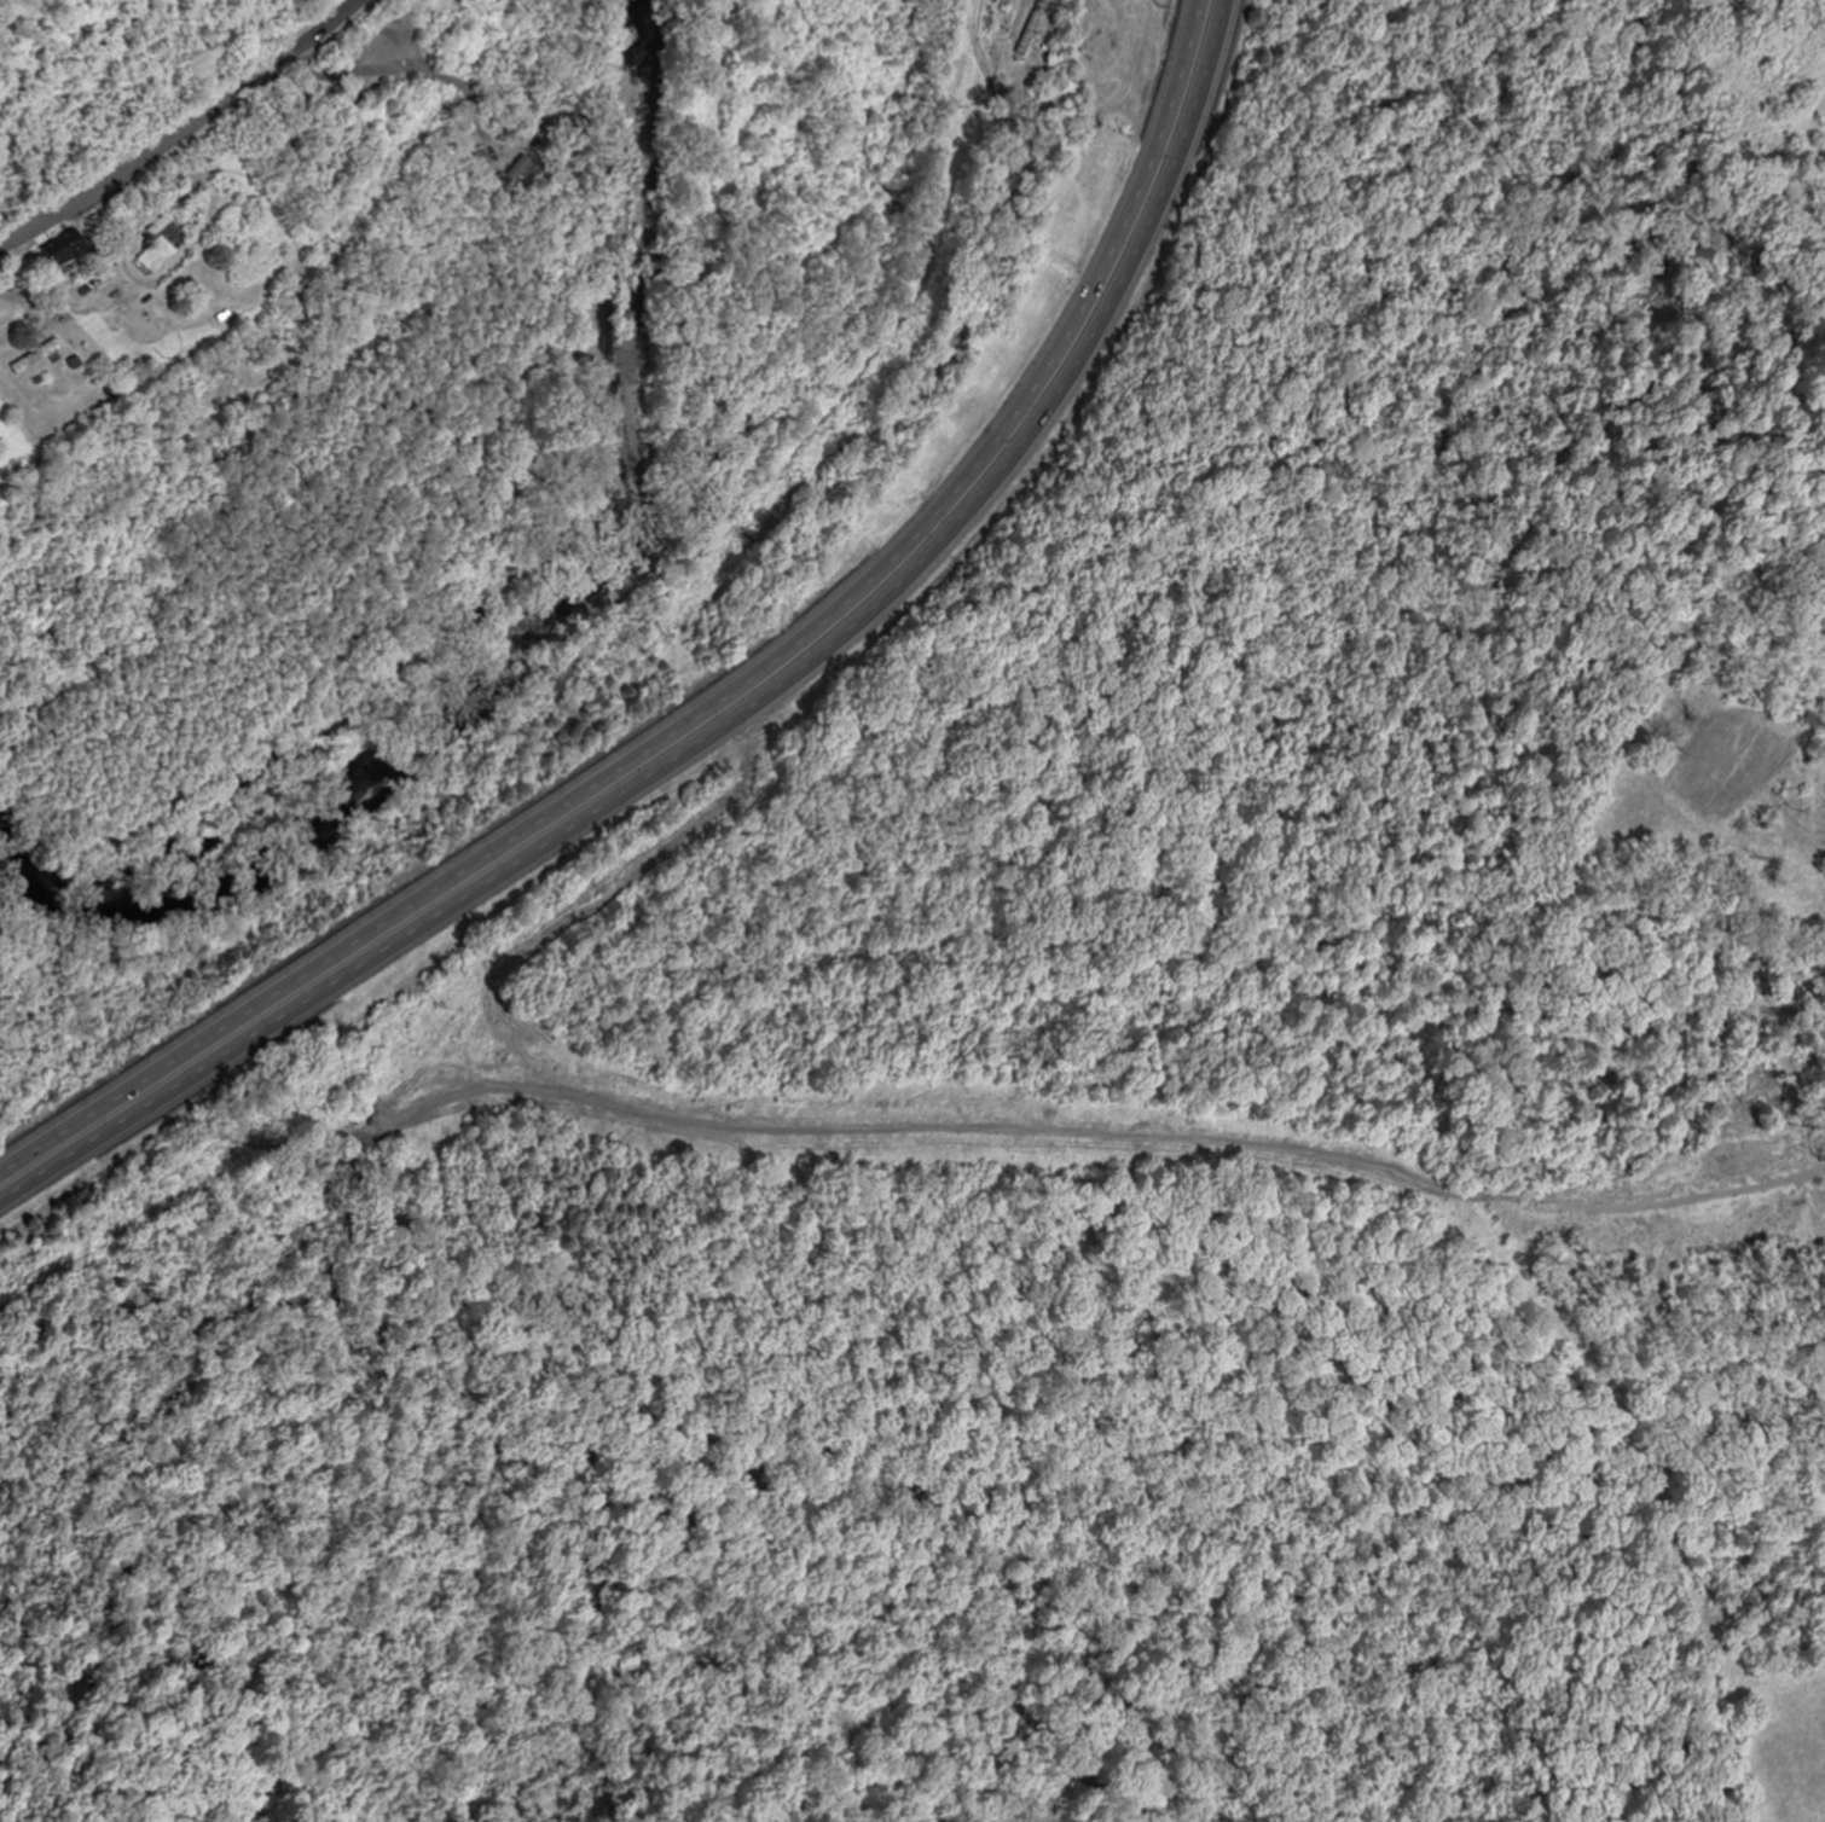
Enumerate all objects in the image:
building: (1033, 30)
road: (290, 45)
building: (271, 117)
road: (116, 167)
building: (164, 244)
building: (68, 249)
building: (39, 358)
road: (723, 696)
road: (741, 715)

